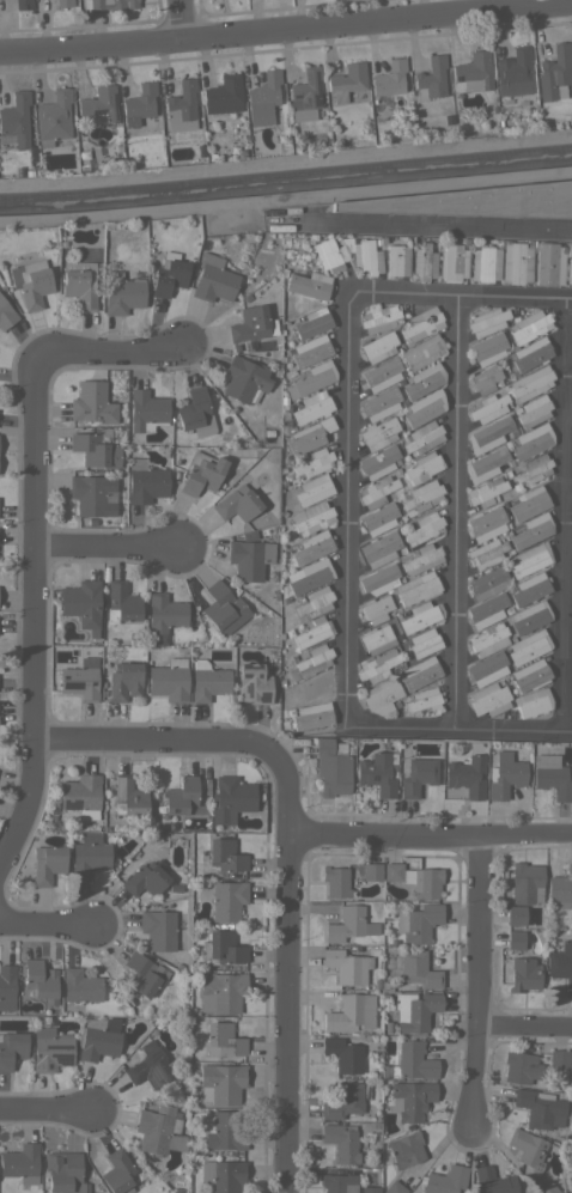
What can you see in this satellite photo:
building: (63, 2)
building: (22, 4)
building: (105, 5)
road: (178, 23)
road: (286, 34)
building: (473, 72)
building: (513, 73)
building: (554, 73)
building: (389, 78)
building: (431, 79)
building: (347, 80)
building: (223, 95)
building: (305, 95)
building: (263, 98)
building: (99, 104)
building: (139, 104)
building: (181, 106)
building: (53, 117)
building: (14, 120)
building: (501, 129)
building: (241, 151)
building: (28, 171)
building: (477, 201)
road: (437, 225)
building: (328, 254)
building: (365, 255)
building: (396, 260)
building: (424, 262)
building: (452, 262)
building: (516, 262)
building: (485, 263)
building: (548, 263)
building: (568, 270)
building: (169, 272)
building: (213, 279)
building: (31, 282)
building: (79, 282)
building: (308, 285)
building: (121, 293)
road: (461, 296)
building: (6, 314)
building: (379, 318)
building: (487, 321)
building: (312, 322)
building: (422, 323)
building: (249, 324)
building: (530, 325)
building: (378, 347)
building: (488, 348)
building: (310, 351)
building: (422, 352)
building: (530, 354)
road: (109, 357)
building: (382, 375)
building: (315, 377)
building: (244, 378)
building: (424, 379)
building: (483, 379)
building: (529, 383)
building: (91, 402)
building: (381, 403)
building: (311, 407)
building: (424, 407)
building: (488, 407)
building: (146, 410)
building: (533, 410)
road: (567, 412)
building: (195, 413)
building: (378, 432)
building: (487, 434)
building: (309, 436)
building: (421, 437)
building: (531, 440)
building: (96, 448)
building: (378, 461)
building: (312, 463)
building: (485, 464)
building: (422, 467)
building: (531, 470)
building: (201, 473)
building: (145, 481)
building: (314, 488)
building: (376, 491)
building: (486, 492)
building: (91, 494)
building: (422, 495)
road: (567, 500)
building: (236, 503)
building: (529, 503)
road: (451, 511)
road: (562, 516)
building: (311, 518)
building: (378, 518)
building: (486, 523)
building: (424, 528)
building: (531, 530)
building: (311, 547)
road: (111, 548)
building: (379, 548)
building: (486, 553)
building: (249, 558)
building: (421, 558)
building: (529, 559)
building: (310, 576)
building: (378, 578)
building: (487, 583)
building: (416, 588)
building: (530, 588)
building: (314, 602)
building: (81, 603)
building: (120, 603)
building: (223, 605)
building: (376, 608)
building: (487, 610)
road: (34, 613)
building: (164, 614)
road: (343, 615)
building: (420, 616)
building: (530, 616)
road: (567, 617)
building: (312, 631)
building: (377, 639)
building: (488, 639)
building: (421, 644)
building: (528, 646)
building: (311, 661)
building: (377, 665)
building: (481, 670)
building: (420, 672)
building: (530, 675)
building: (80, 678)
building: (169, 680)
building: (123, 681)
building: (207, 681)
building: (252, 683)
building: (314, 689)
building: (381, 695)
building: (422, 699)
building: (488, 699)
building: (533, 702)
building: (311, 716)
road: (158, 739)
building: (331, 767)
building: (378, 773)
building: (465, 774)
building: (418, 775)
building: (505, 775)
building: (552, 777)
building: (81, 795)
building: (128, 796)
building: (181, 796)
building: (230, 798)
road: (428, 839)
building: (89, 853)
building: (225, 857)
building: (47, 864)
building: (371, 871)
building: (415, 878)
building: (145, 879)
building: (335, 881)
building: (525, 883)
building: (174, 888)
building: (560, 889)
building: (227, 900)
building: (515, 915)
road: (49, 923)
building: (418, 923)
building: (348, 924)
building: (158, 929)
building: (513, 939)
building: (223, 948)
building: (561, 963)
building: (347, 966)
building: (418, 969)
building: (144, 973)
road: (284, 974)
building: (523, 974)
building: (39, 980)
building: (80, 985)
building: (7, 986)
road: (475, 987)
building: (220, 992)
building: (414, 1010)
building: (351, 1012)
road: (523, 1028)
building: (97, 1039)
building: (223, 1039)
building: (11, 1048)
building: (50, 1049)
building: (342, 1054)
building: (558, 1058)
building: (410, 1061)
building: (521, 1067)
building: (150, 1069)
building: (221, 1083)
building: (571, 1094)
building: (410, 1098)
building: (343, 1101)
building: (538, 1108)
road: (48, 1112)
building: (159, 1131)
building: (221, 1131)
building: (340, 1142)
building: (404, 1149)
building: (528, 1149)
building: (571, 1157)
building: (20, 1162)
building: (63, 1171)
building: (117, 1171)
building: (223, 1175)
building: (370, 1175)
building: (445, 1180)
building: (493, 1180)
building: (337, 1183)
building: (394, 1187)
building: (547, 1188)
building: (369, 1189)
building: (561, 1192)

